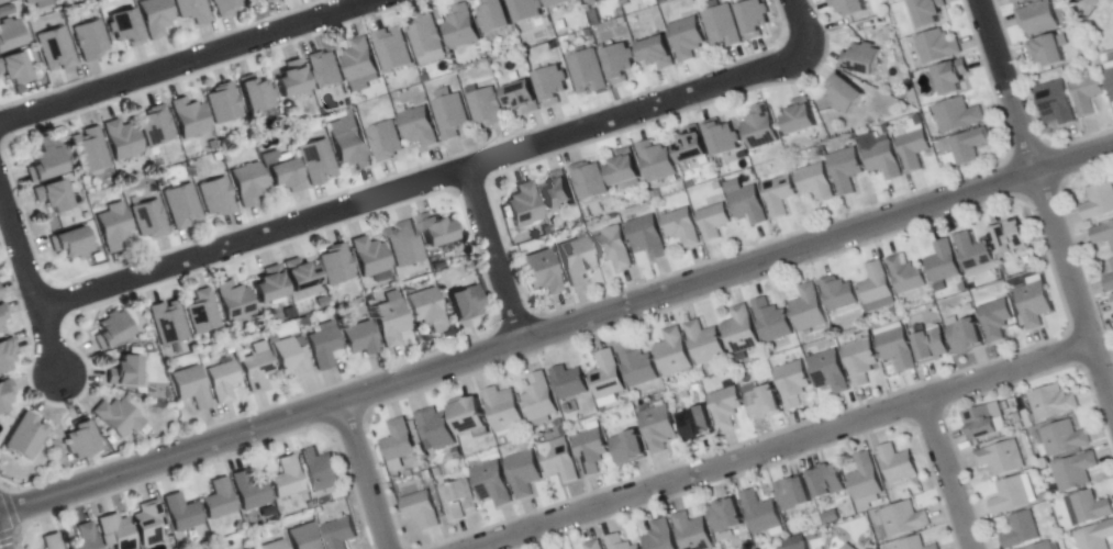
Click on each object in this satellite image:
building: (0, 0)
building: (29, 1)
building: (266, 1)
building: (1017, 1)
building: (591, 2)
building: (557, 3)
building: (848, 7)
building: (225, 8)
building: (4, 9)
building: (525, 10)
building: (192, 11)
building: (927, 12)
building: (155, 16)
building: (493, 16)
building: (753, 19)
building: (1037, 19)
road: (792, 24)
building: (121, 25)
building: (722, 26)
building: (460, 27)
building: (8, 35)
building: (425, 36)
building: (686, 38)
building: (89, 40)
building: (937, 47)
building: (55, 49)
building: (392, 49)
building: (655, 53)
building: (1046, 53)
building: (359, 59)
building: (860, 59)
road: (187, 61)
building: (617, 63)
building: (12, 69)
building: (324, 70)
building: (586, 72)
building: (950, 78)
building: (290, 79)
building: (1110, 79)
building: (549, 86)
building: (843, 93)
building: (1087, 94)
building: (253, 96)
building: (520, 98)
building: (223, 103)
building: (1056, 103)
building: (485, 108)
building: (452, 116)
building: (798, 116)
building: (957, 116)
building: (188, 117)
building: (155, 126)
building: (418, 127)
building: (759, 127)
building: (122, 139)
building: (721, 139)
building: (385, 142)
building: (968, 146)
building: (689, 147)
building: (913, 149)
building: (88, 150)
building: (349, 150)
building: (882, 159)
building: (315, 161)
building: (656, 161)
building: (43, 165)
building: (623, 169)
building: (845, 169)
building: (282, 177)
building: (589, 181)
building: (814, 182)
building: (247, 183)
road: (419, 184)
building: (554, 194)
building: (778, 195)
building: (51, 197)
building: (216, 198)
building: (1098, 201)
road: (1045, 203)
building: (523, 205)
building: (747, 205)
building: (181, 206)
building: (148, 220)
building: (712, 221)
building: (113, 226)
building: (680, 227)
building: (434, 232)
building: (1102, 234)
building: (645, 237)
building: (1008, 240)
building: (68, 243)
building: (404, 245)
building: (613, 248)
road: (494, 255)
building: (973, 255)
building: (369, 257)
building: (576, 260)
building: (1112, 264)
building: (335, 265)
building: (943, 266)
building: (542, 272)
building: (905, 274)
building: (298, 276)
road: (30, 281)
building: (1109, 282)
building: (267, 287)
building: (876, 288)
building: (837, 294)
building: (465, 300)
building: (1111, 300)
building: (234, 301)
building: (1033, 304)
building: (203, 310)
building: (425, 310)
building: (806, 310)
building: (2, 313)
building: (390, 320)
building: (995, 320)
building: (771, 322)
building: (167, 323)
road: (556, 329)
building: (0, 330)
building: (109, 330)
building: (739, 332)
building: (965, 337)
building: (360, 339)
building: (703, 344)
building: (323, 346)
building: (931, 347)
building: (895, 349)
building: (5, 352)
building: (672, 354)
building: (291, 359)
building: (859, 361)
building: (636, 366)
building: (256, 368)
building: (828, 372)
building: (122, 373)
building: (606, 376)
building: (223, 381)
building: (568, 382)
building: (792, 384)
building: (190, 386)
building: (4, 393)
building: (539, 399)
building: (761, 401)
building: (1051, 403)
building: (724, 408)
building: (502, 410)
building: (465, 416)
building: (118, 417)
building: (984, 422)
building: (695, 424)
building: (434, 428)
building: (658, 428)
building: (25, 437)
building: (1064, 439)
building: (78, 441)
building: (397, 441)
road: (782, 446)
building: (628, 449)
building: (590, 451)
building: (1000, 459)
building: (559, 461)
building: (898, 464)
building: (522, 469)
building: (320, 471)
building: (1075, 472)
road: (948, 474)
road: (365, 475)
building: (286, 478)
building: (864, 479)
building: (826, 482)
building: (492, 484)
building: (248, 491)
building: (791, 495)
building: (1010, 497)
building: (219, 501)
building: (458, 501)
building: (1090, 507)
building: (421, 511)
building: (181, 514)
building: (759, 514)
building: (726, 519)
building: (903, 520)
building: (148, 523)
building: (115, 531)
building: (692, 531)
building: (1020, 531)
building: (340, 533)
building: (659, 536)
building: (82, 537)
building: (304, 537)
building: (1094, 537)
building: (51, 540)
building: (619, 542)
building: (915, 544)
building: (274, 546)
building: (593, 546)
building: (1042, 546)
building: (797, 547)
building: (847, 547)
building: (244, 548)

